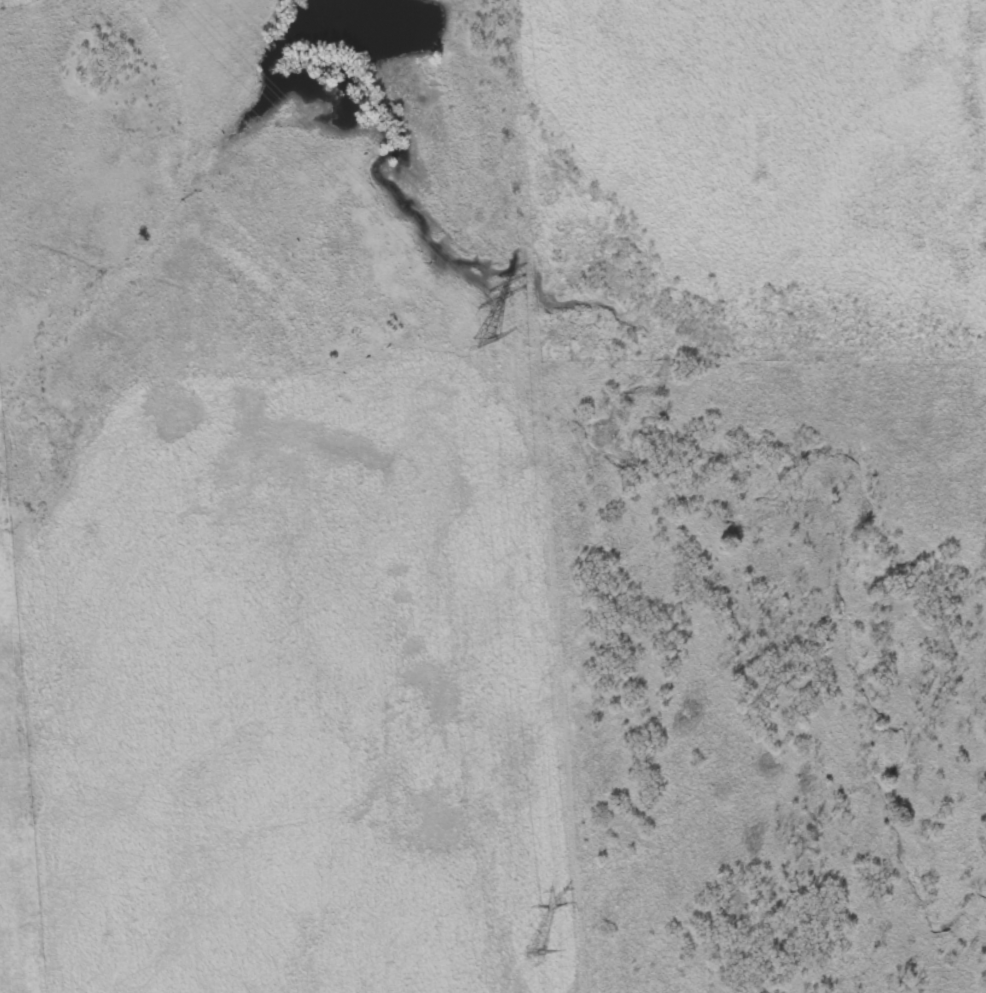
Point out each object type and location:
power tower: (486, 335)
power tower: (533, 950)

